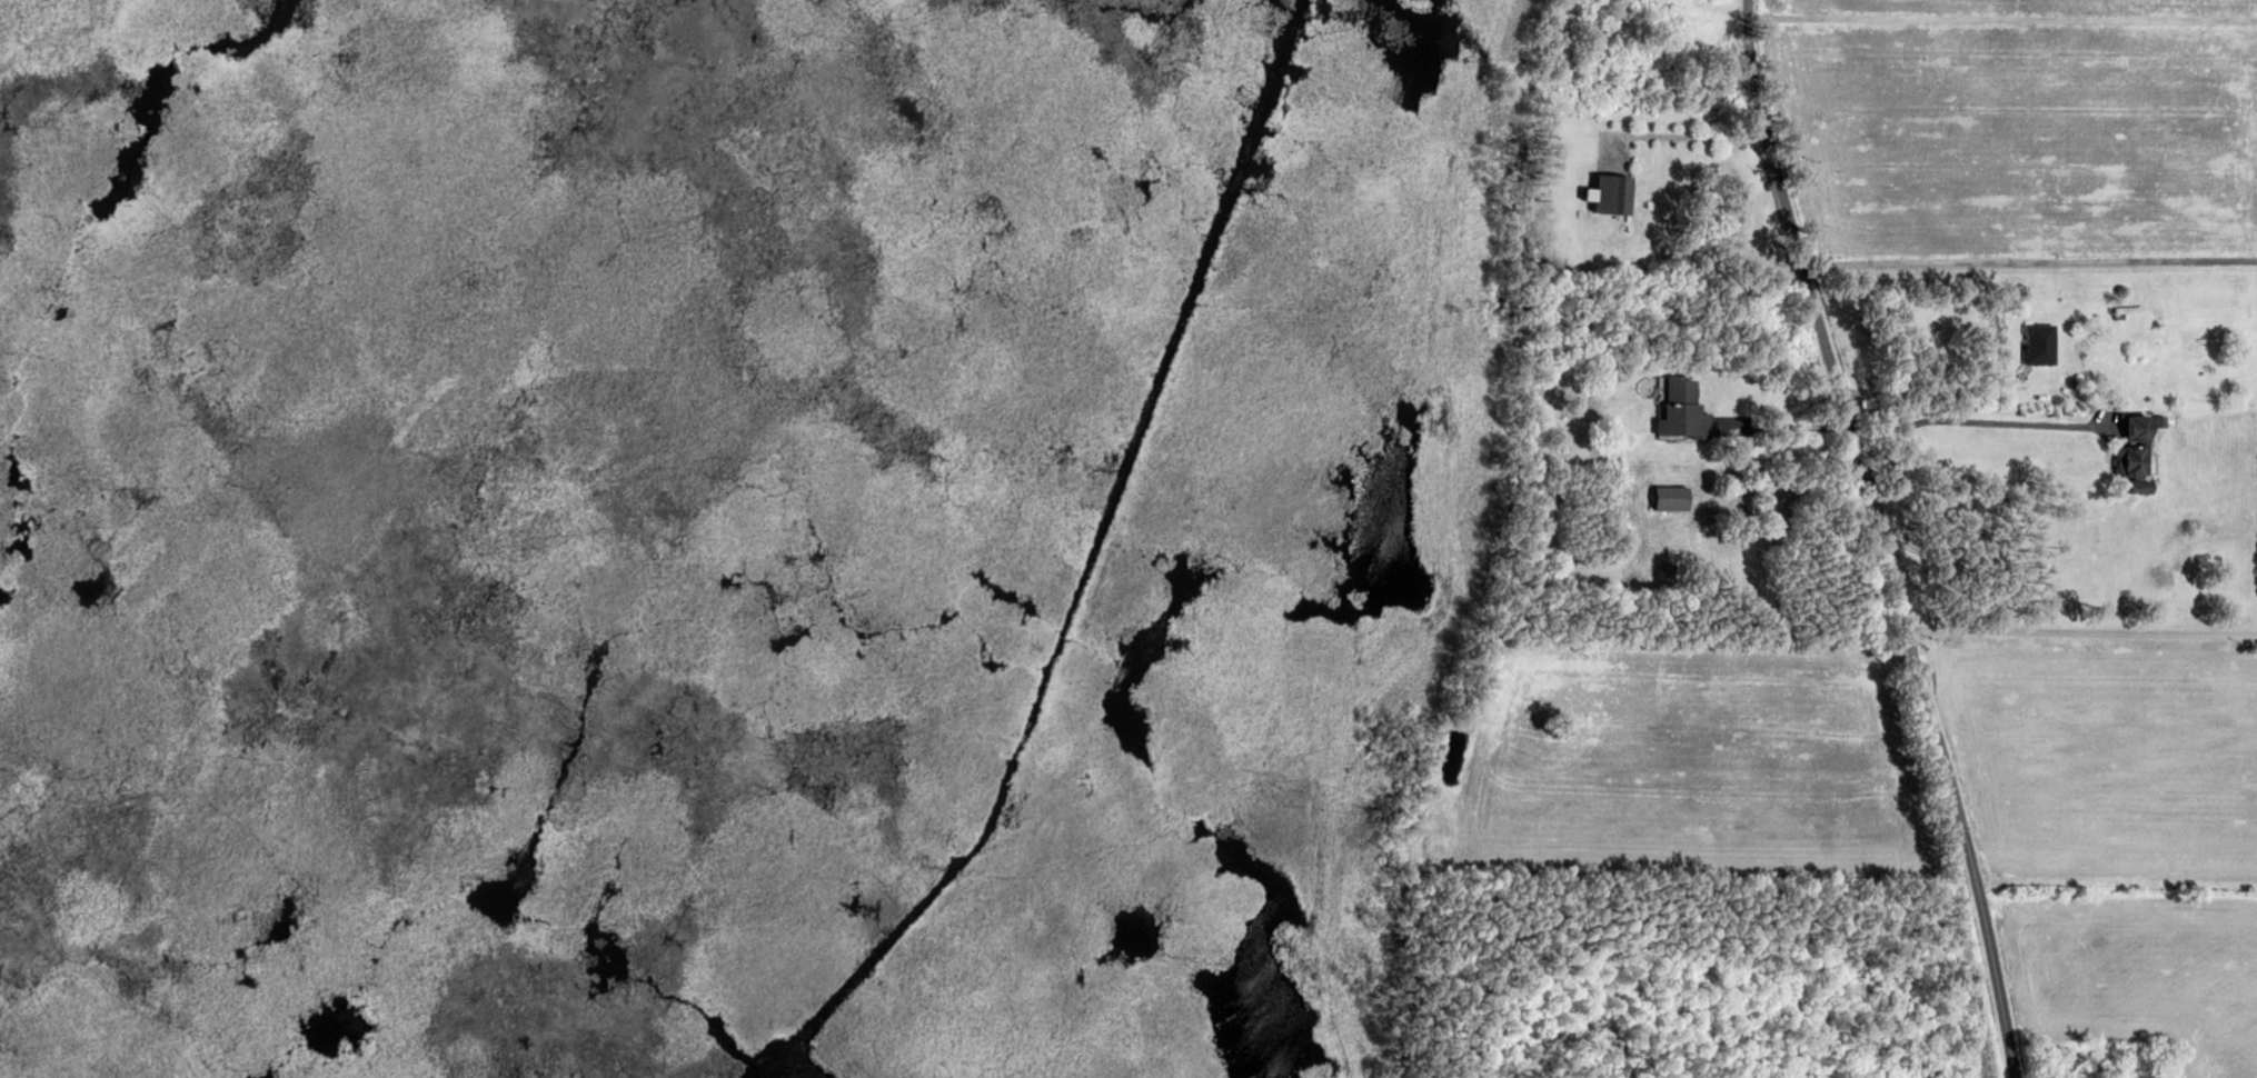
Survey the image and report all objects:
road: (2001, 21)
road: (1689, 140)
building: (1608, 196)
road: (2029, 263)
building: (2040, 343)
road: (1938, 392)
building: (1682, 409)
road: (1845, 418)
building: (2158, 419)
road: (1976, 420)
road: (1781, 427)
building: (2134, 456)
building: (1668, 500)
road: (2081, 633)
crop: (2109, 759)
crop: (1687, 765)
road: (2117, 882)
road: (1992, 955)
crop: (2140, 975)

